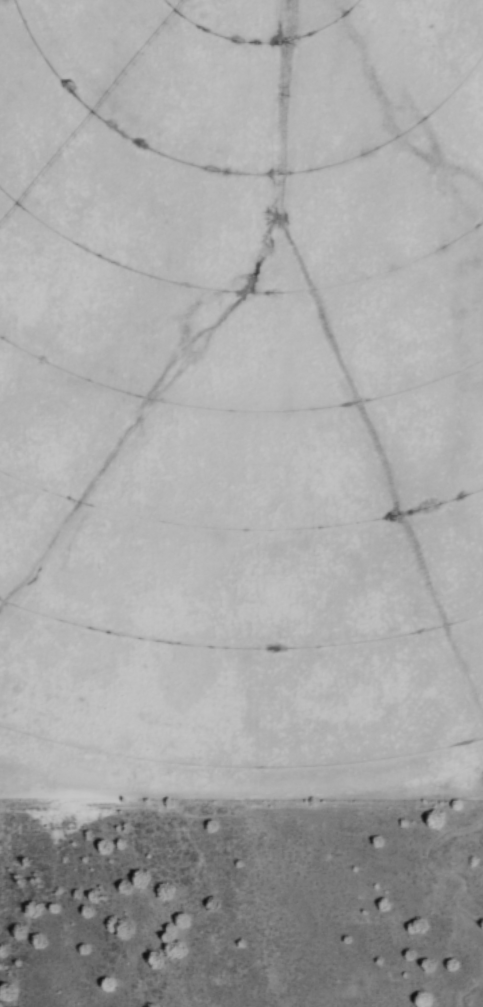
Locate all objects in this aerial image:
crop: (241, 401)

